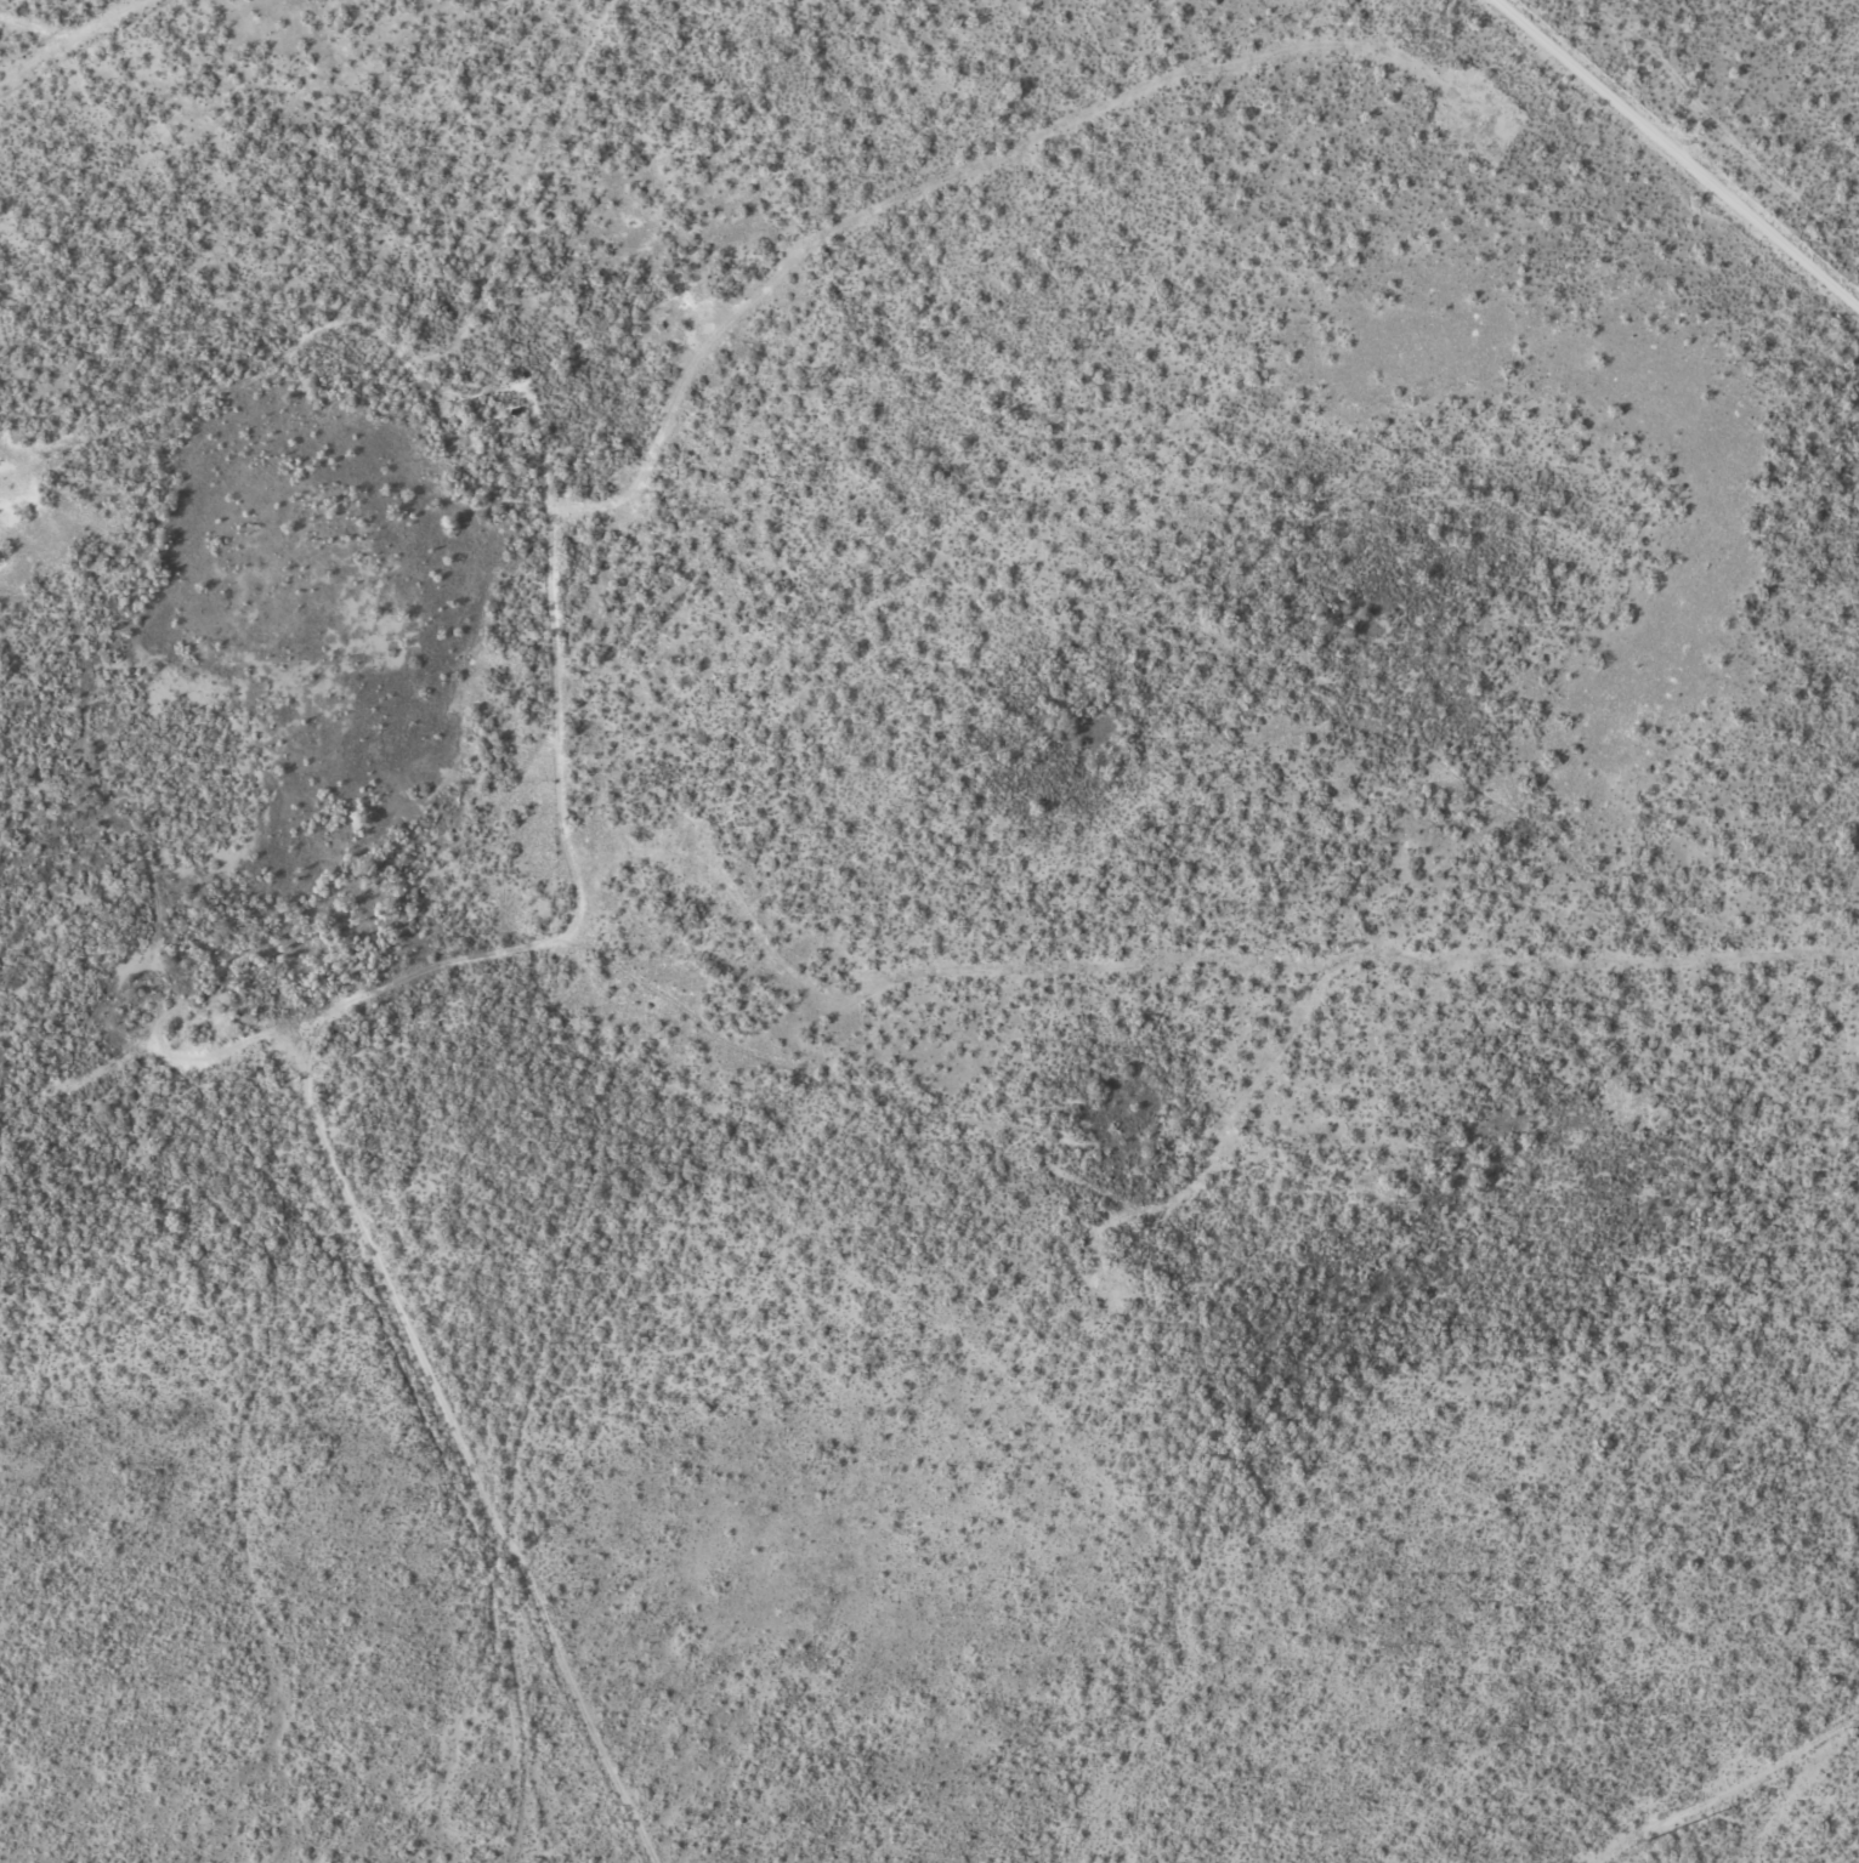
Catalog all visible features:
road: (549, 943)
power tower: (1649, 1840)

